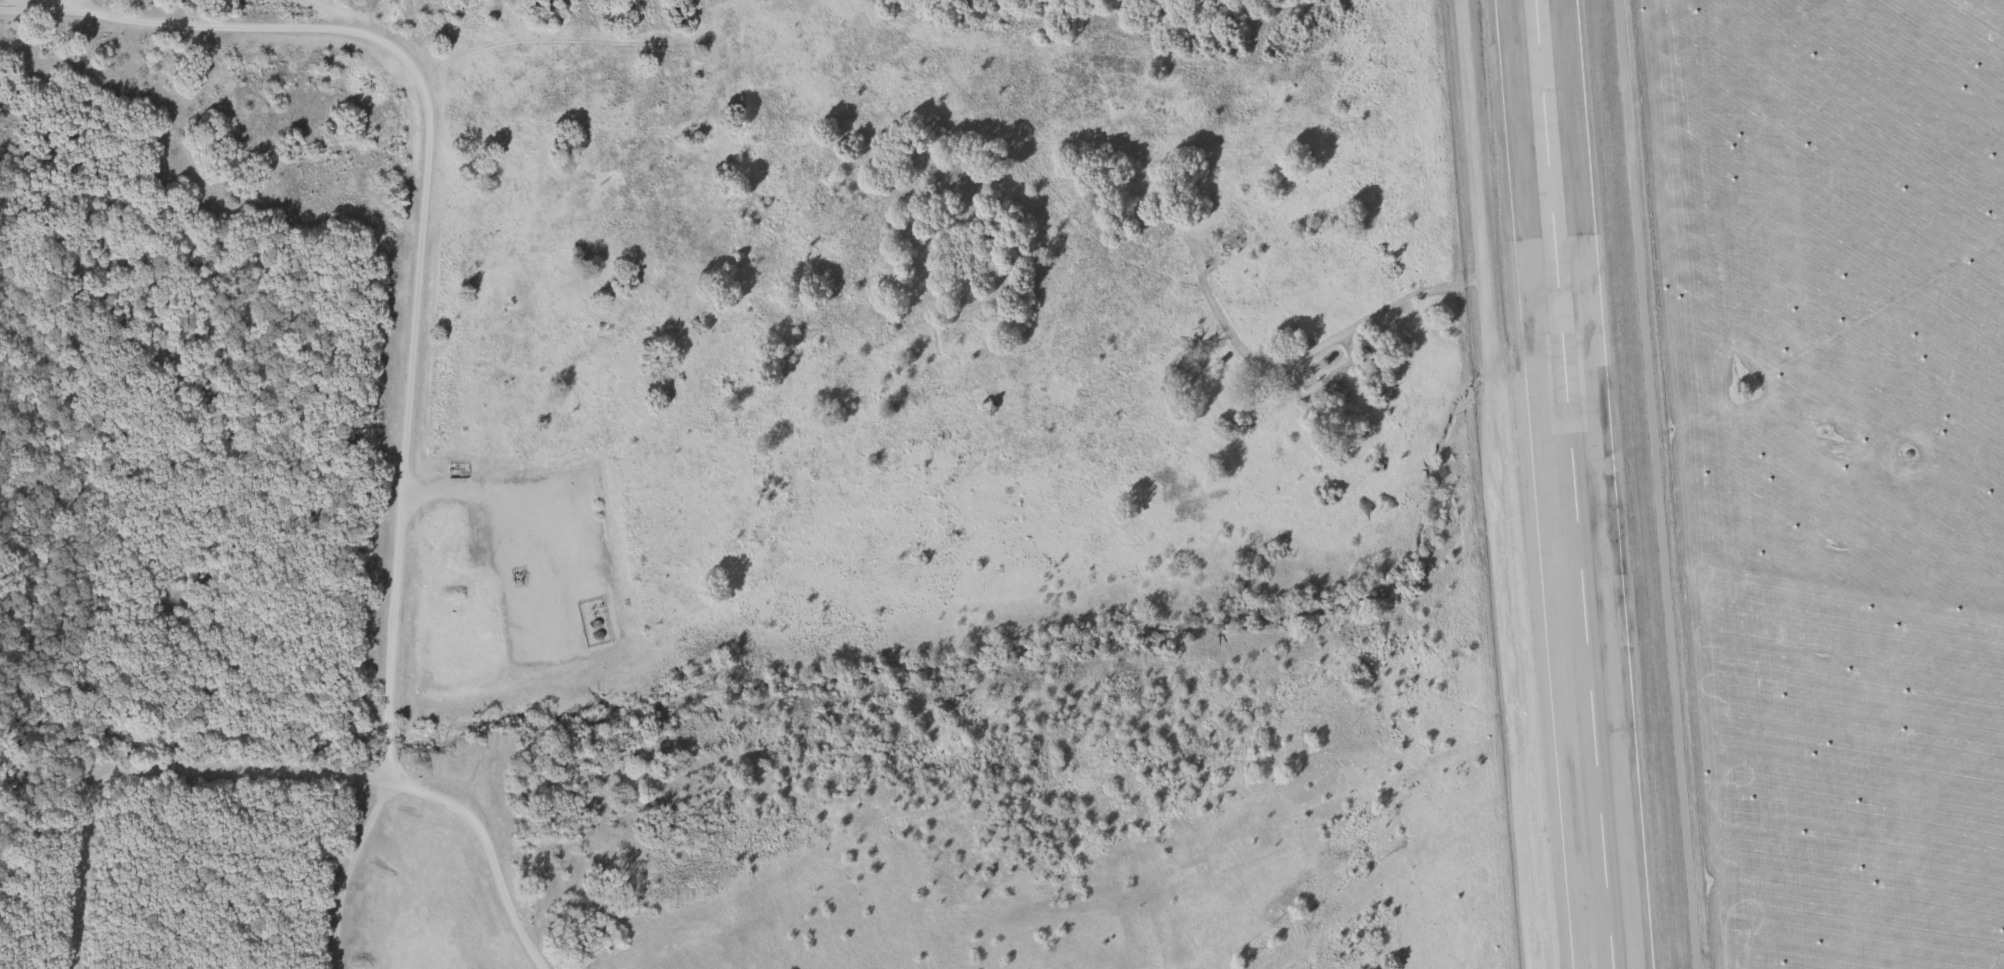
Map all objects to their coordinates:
road: (423, 208)
road: (1496, 484)
airport: (1574, 484)
airport runway: (1576, 484)
road: (442, 492)
road: (534, 544)
building: (590, 622)
road: (146, 768)
road: (395, 770)
road: (487, 849)
road: (347, 871)

